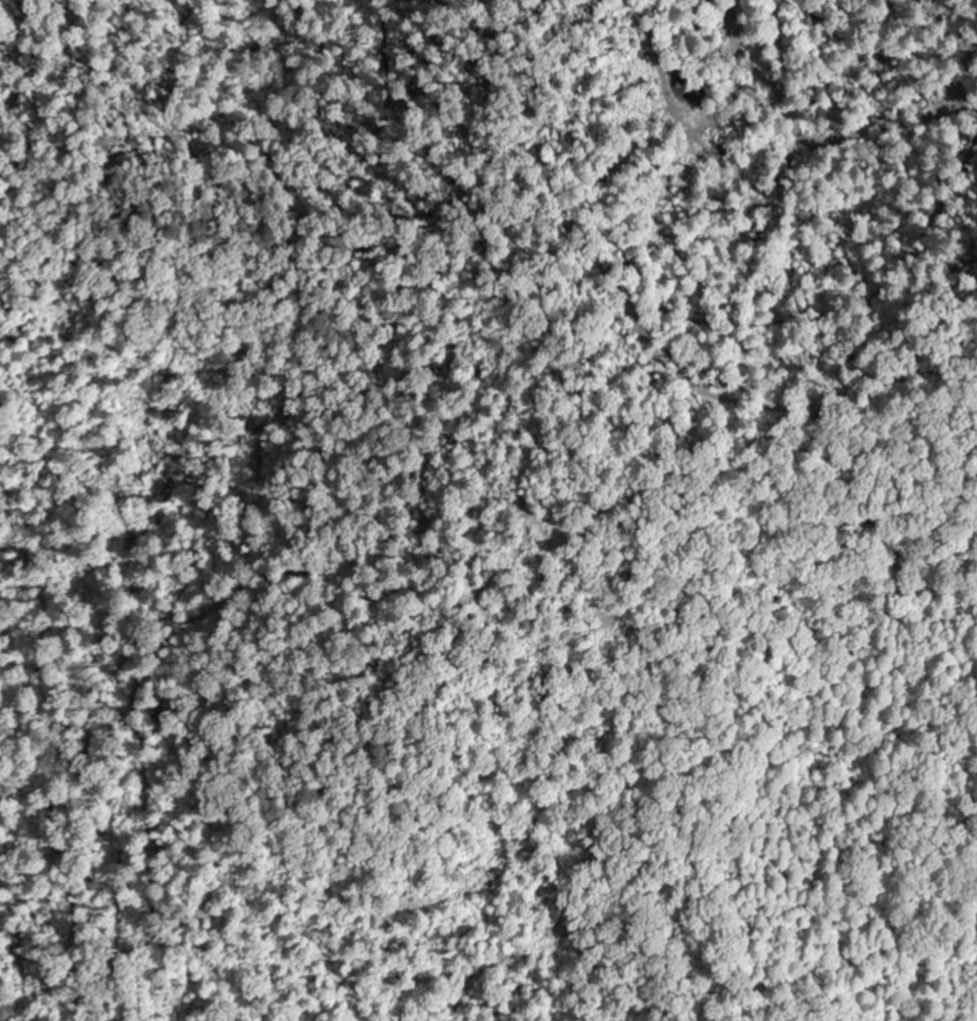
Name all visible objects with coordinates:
road: (88, 642)
road: (761, 645)

